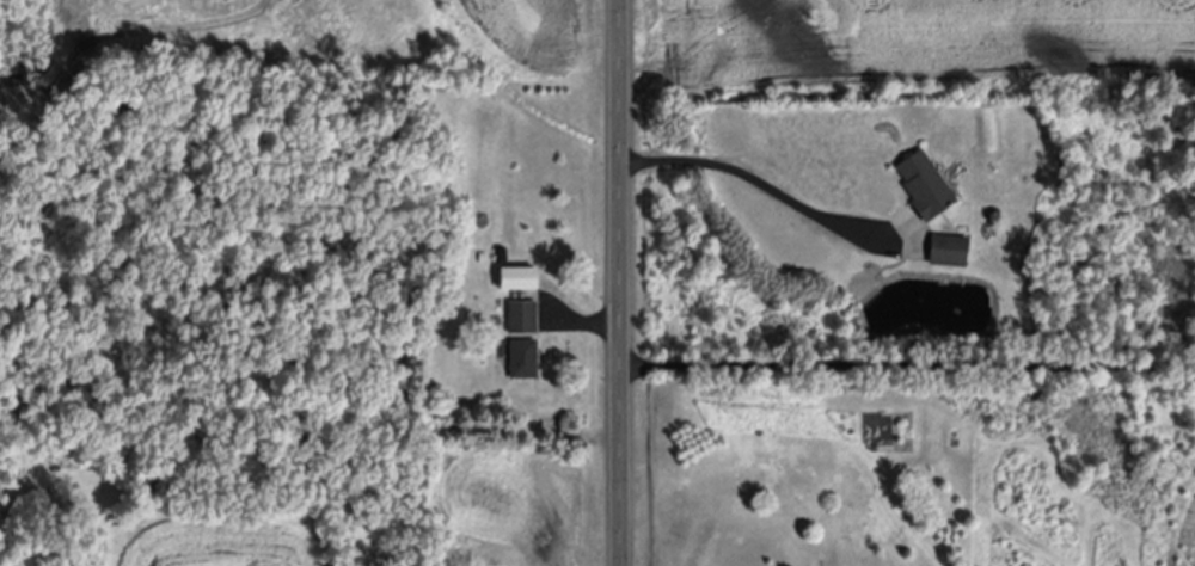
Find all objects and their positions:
road: (744, 171)
building: (925, 187)
building: (949, 252)
building: (502, 256)
building: (519, 282)
road: (621, 282)
building: (522, 318)
building: (523, 359)
road: (908, 359)
building: (803, 502)

